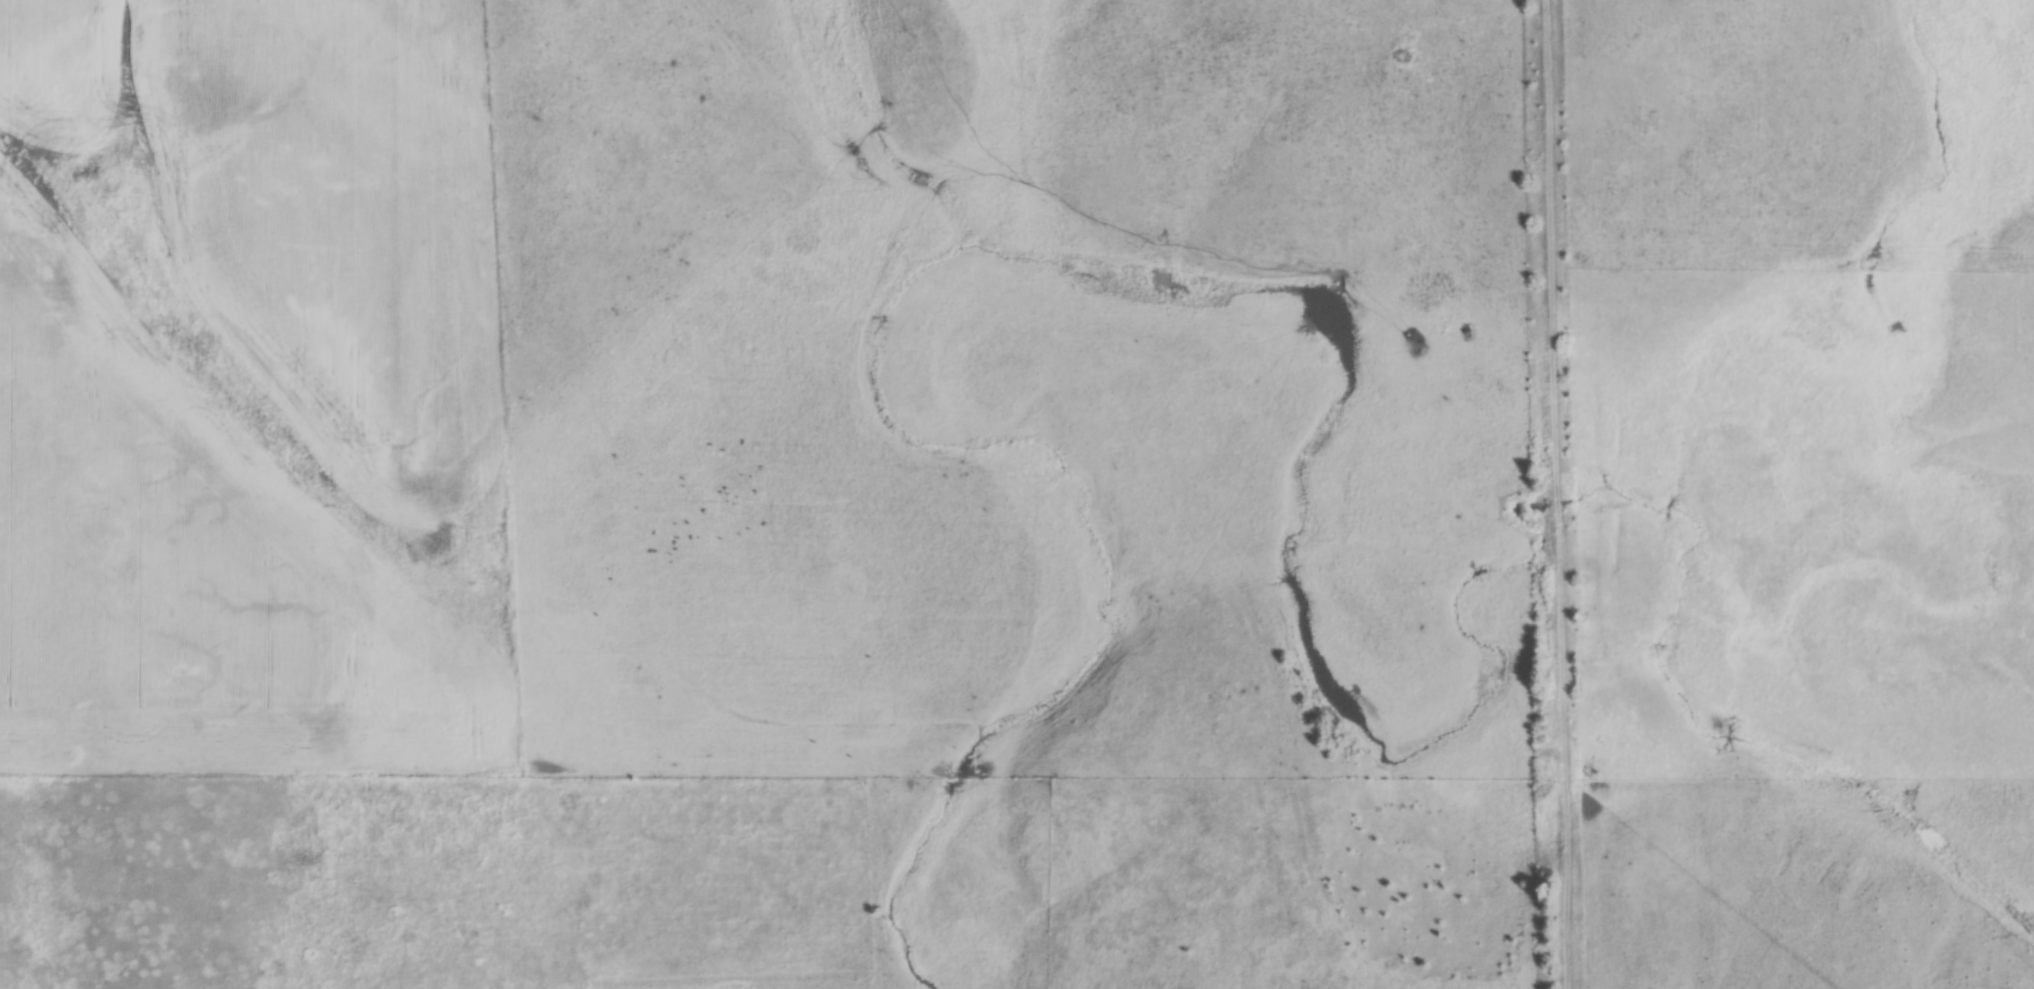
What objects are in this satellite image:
road: (1571, 853)

